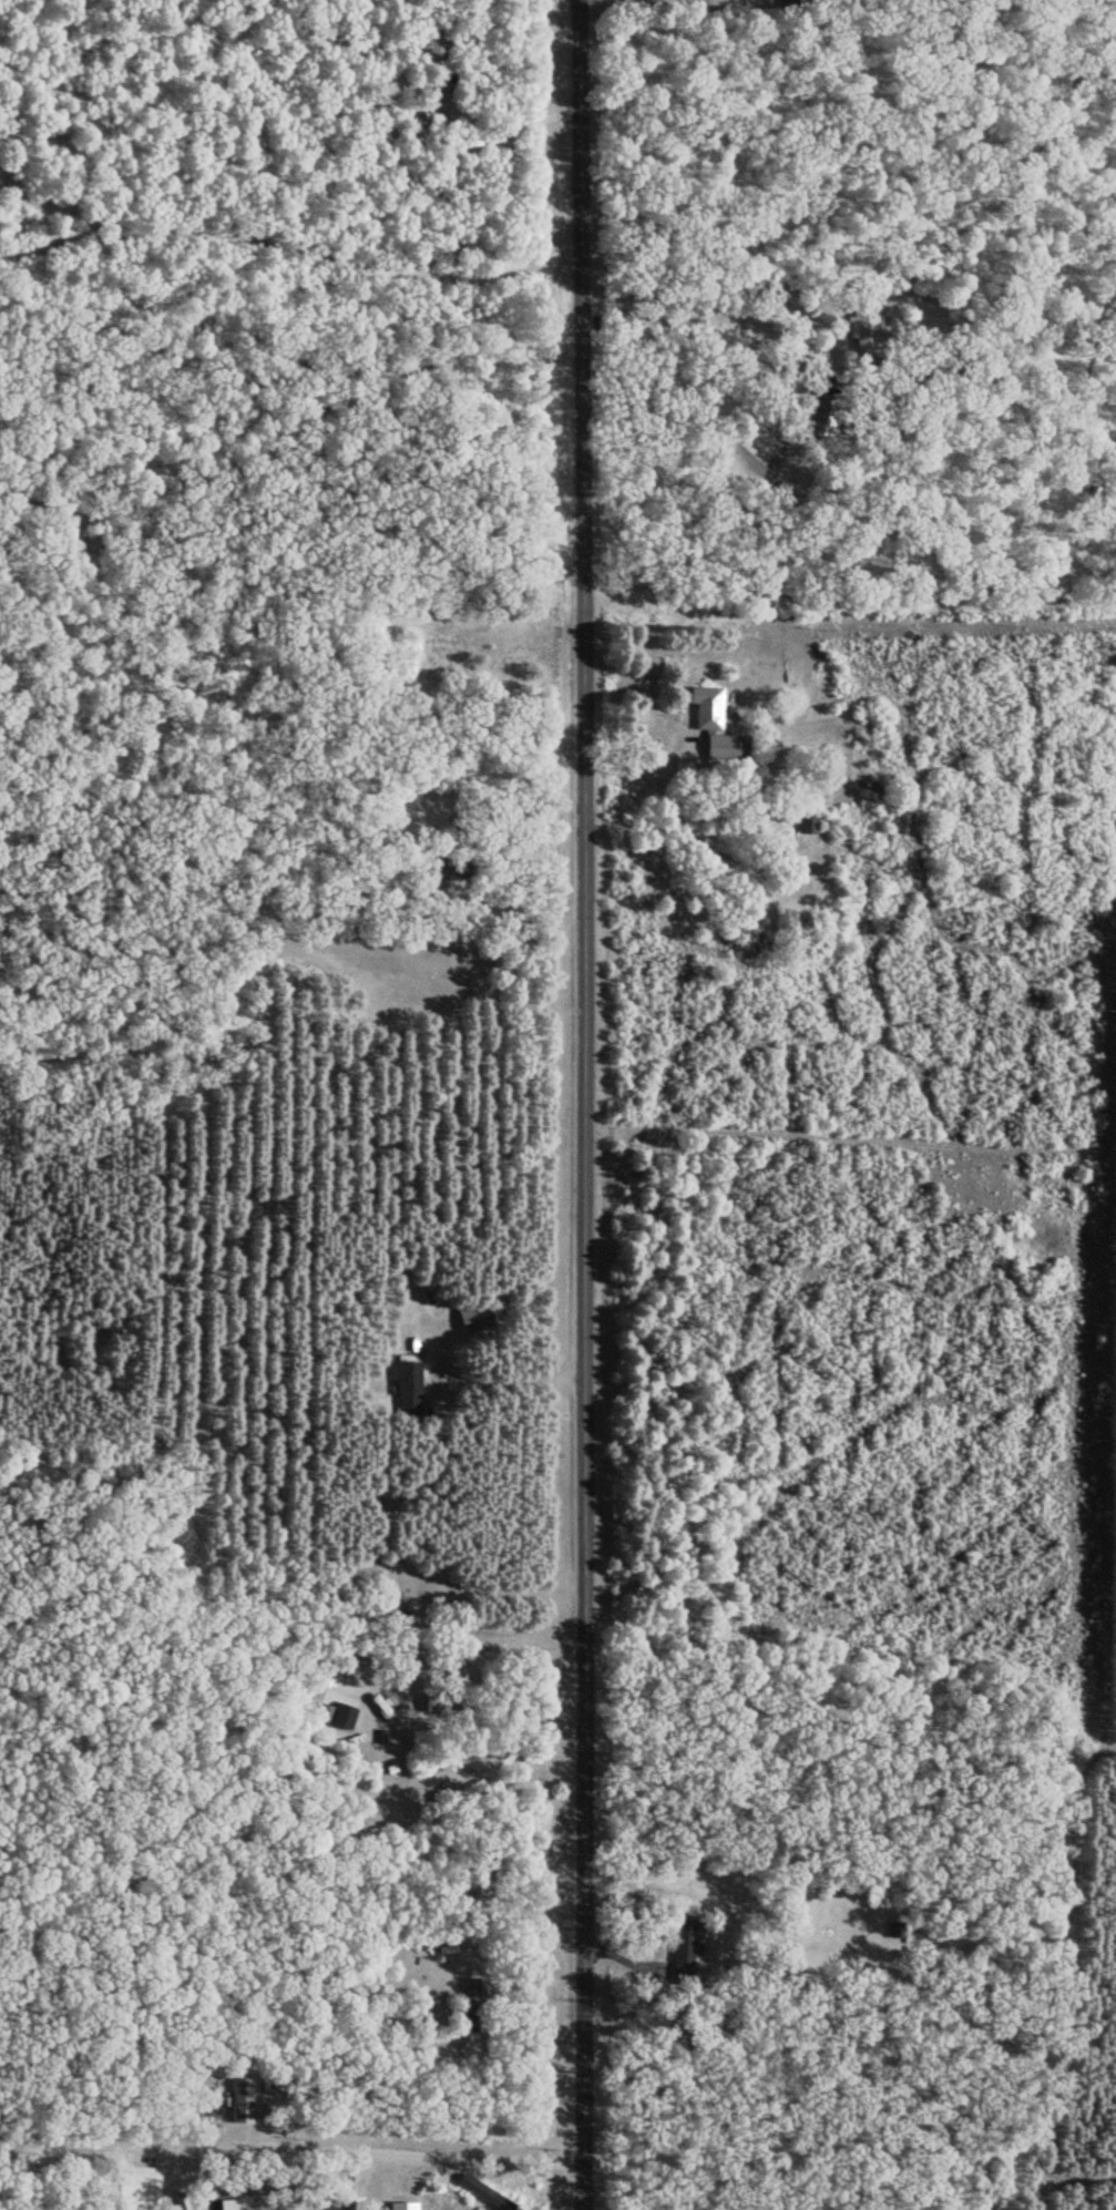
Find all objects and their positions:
building: (797, 4)
park: (703, 10)
road: (868, 218)
building: (862, 319)
building: (821, 412)
road: (852, 593)
building: (706, 705)
building: (720, 747)
building: (807, 819)
building: (448, 867)
building: (380, 874)
road: (586, 1104)
building: (475, 1314)
building: (408, 1382)
building: (381, 1598)
road: (398, 1620)
building: (380, 1701)
building: (342, 1715)
building: (463, 1790)
building: (475, 1876)
building: (690, 1947)
building: (470, 1991)
road: (288, 2145)
building: (139, 2179)
building: (237, 2203)

